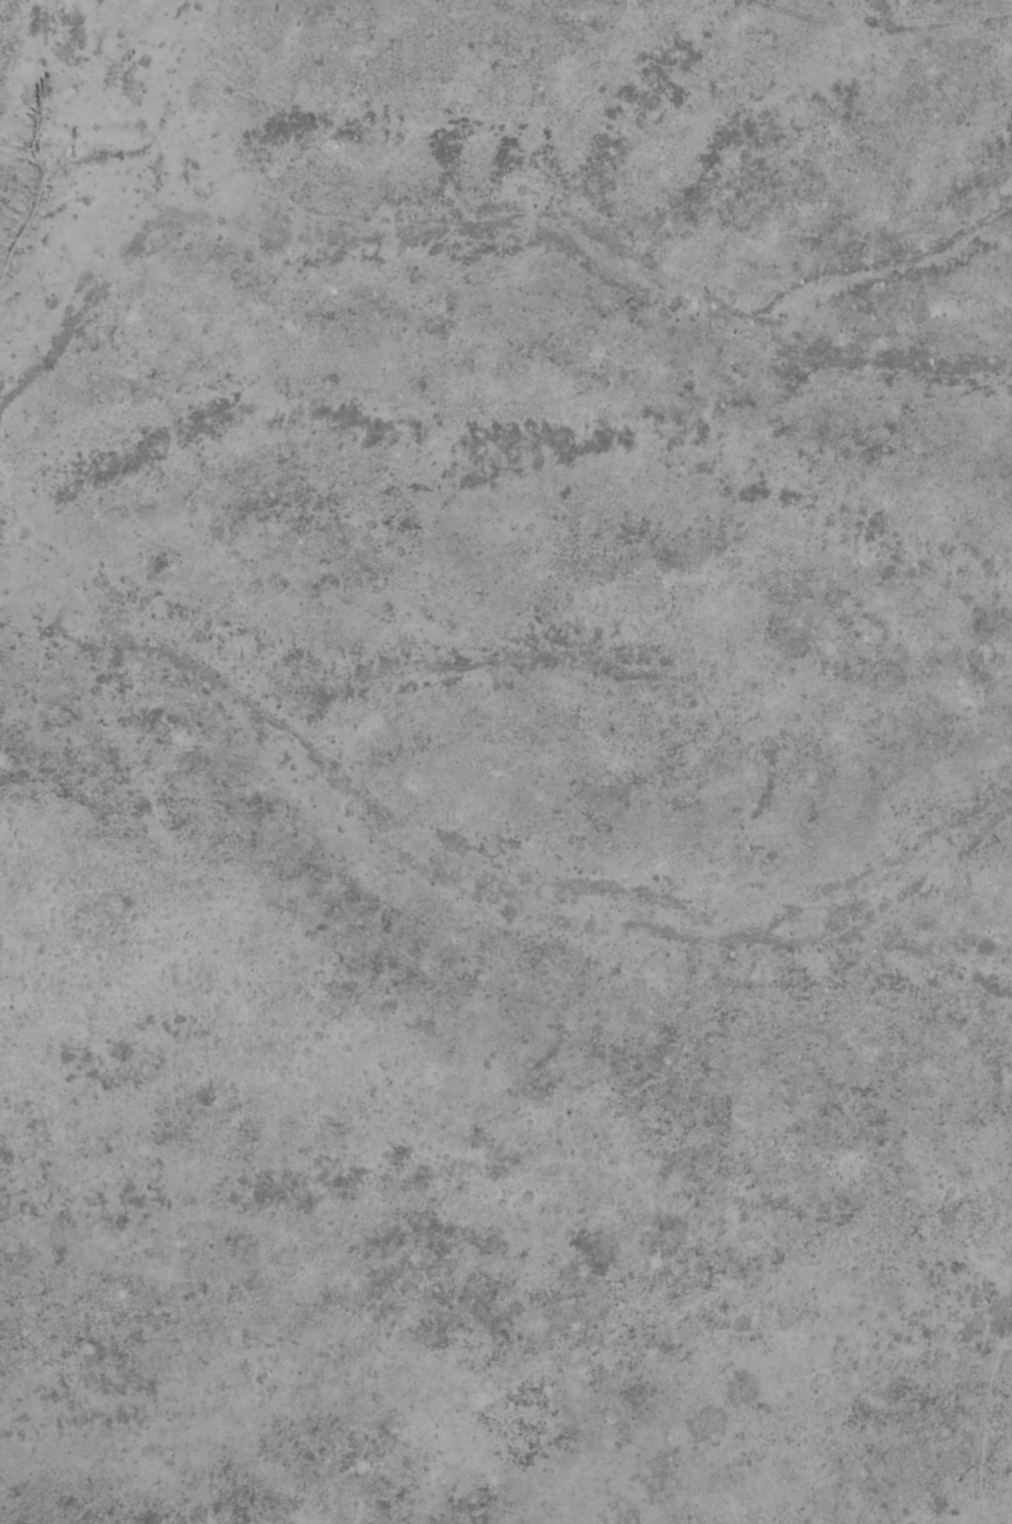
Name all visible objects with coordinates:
road: (794, 43)

